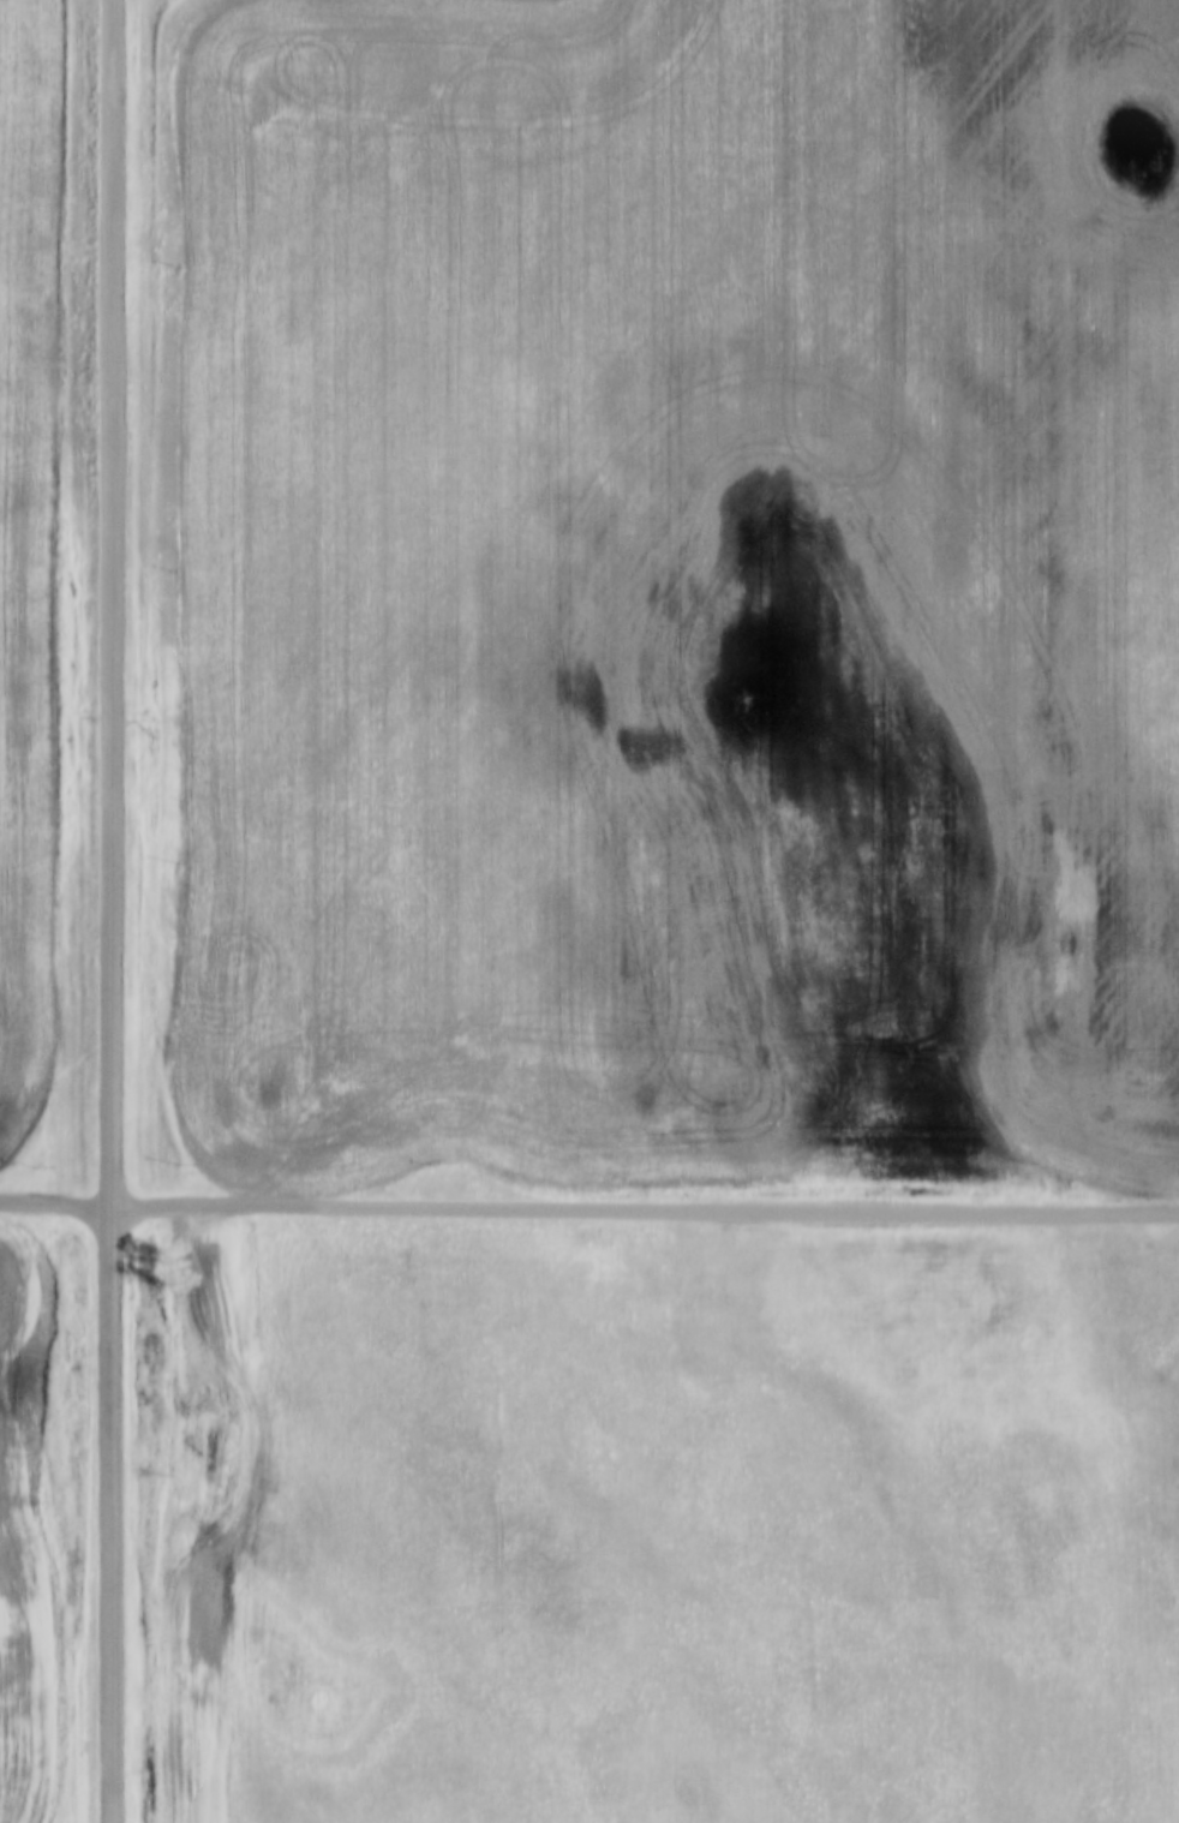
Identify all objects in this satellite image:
road: (110, 911)
road: (54, 1196)
road: (644, 1203)

